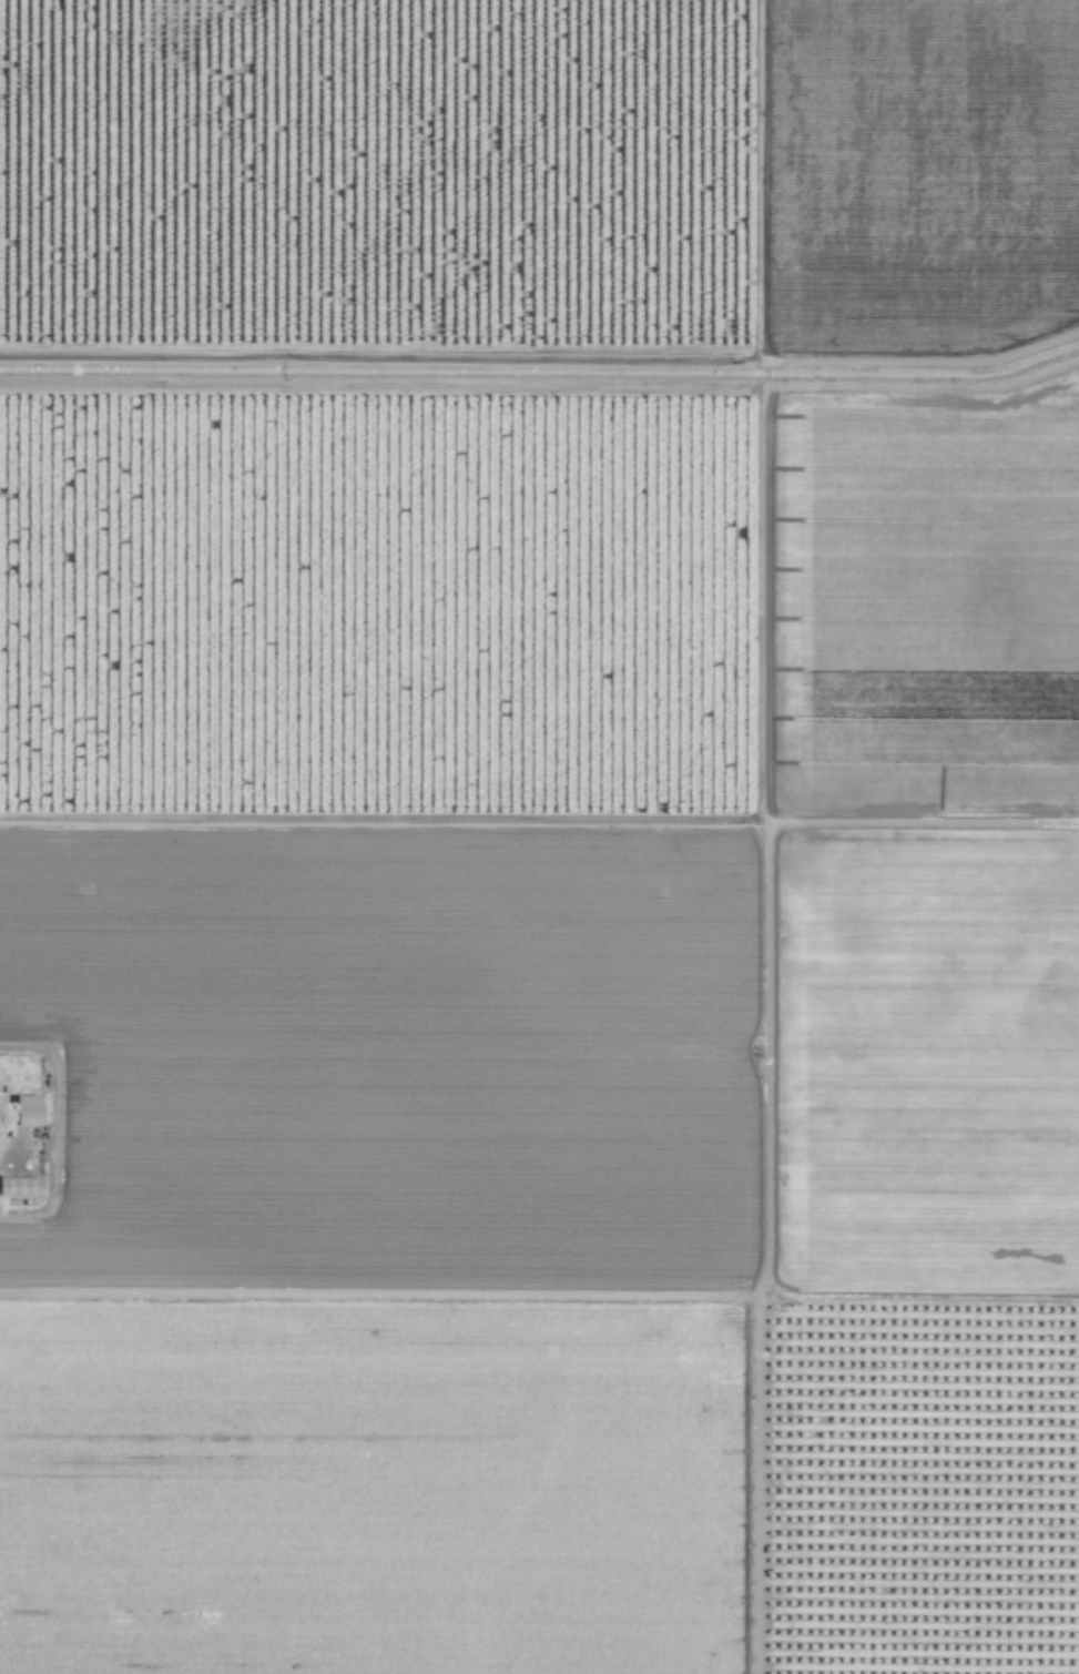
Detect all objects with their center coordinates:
building: (18, 1186)

